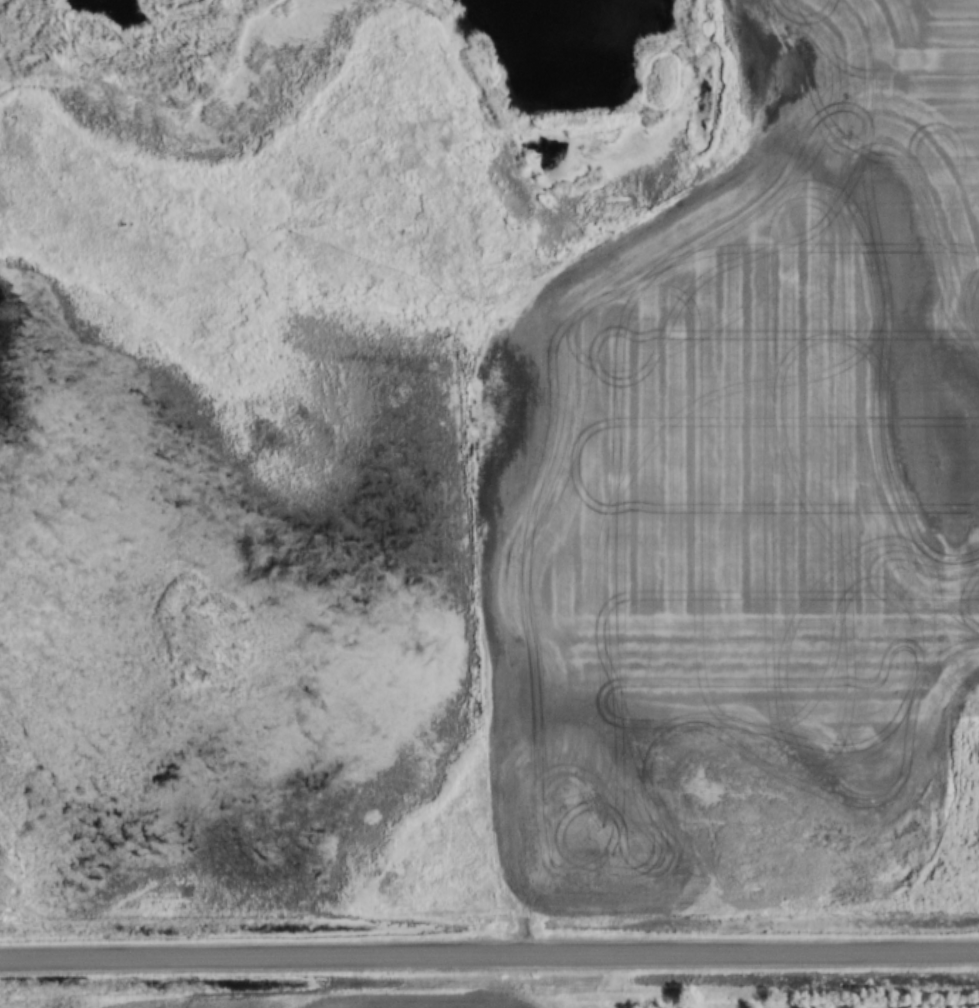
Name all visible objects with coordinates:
road: (489, 958)

